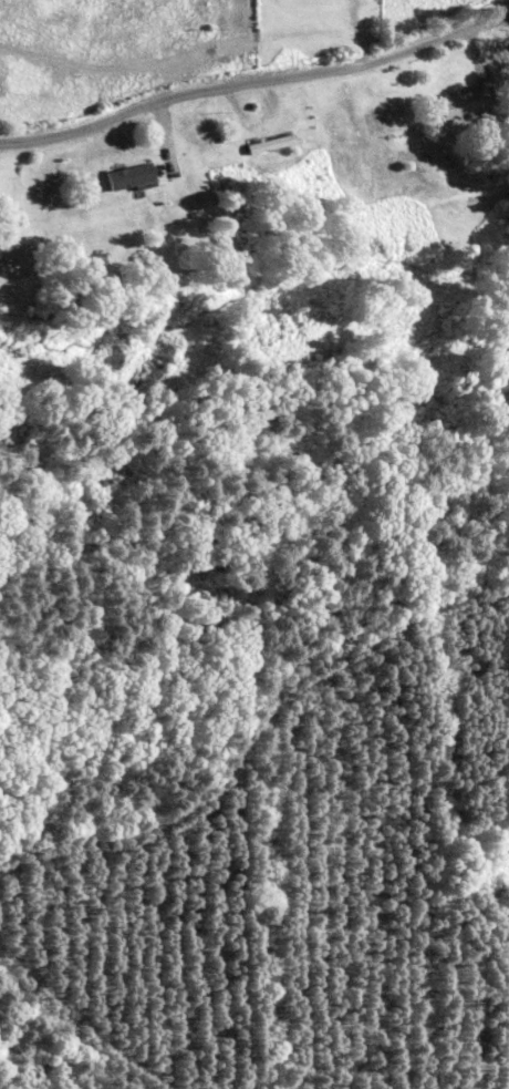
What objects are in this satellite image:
road: (256, 84)
building: (461, 104)
building: (267, 144)
building: (125, 176)

